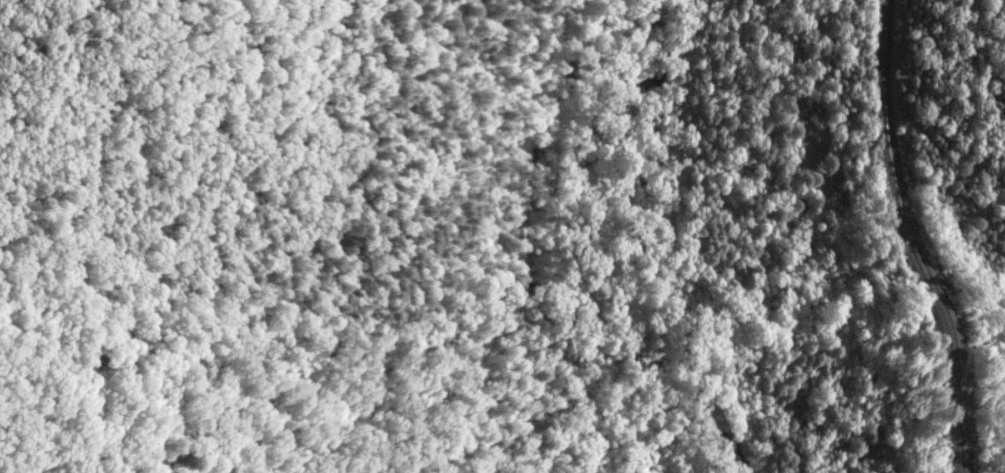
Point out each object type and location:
railway: (893, 236)

